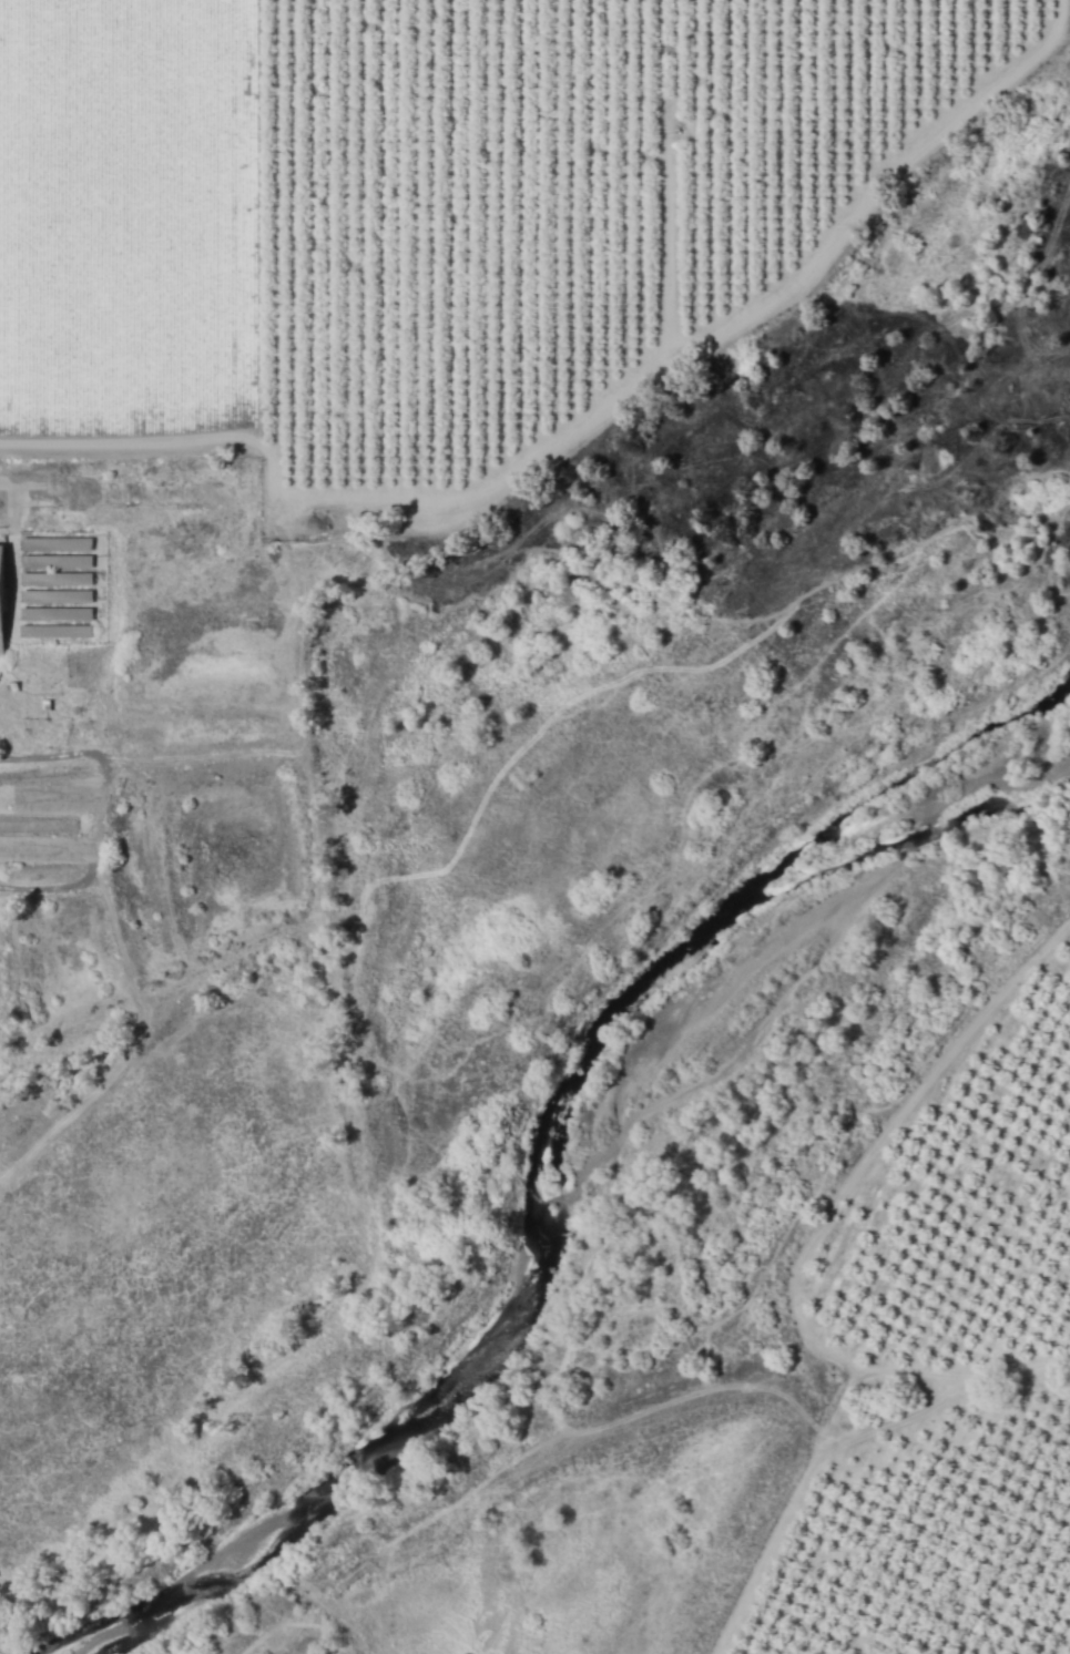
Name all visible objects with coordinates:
road: (12, 497)
building: (4, 599)
river: (539, 1145)

